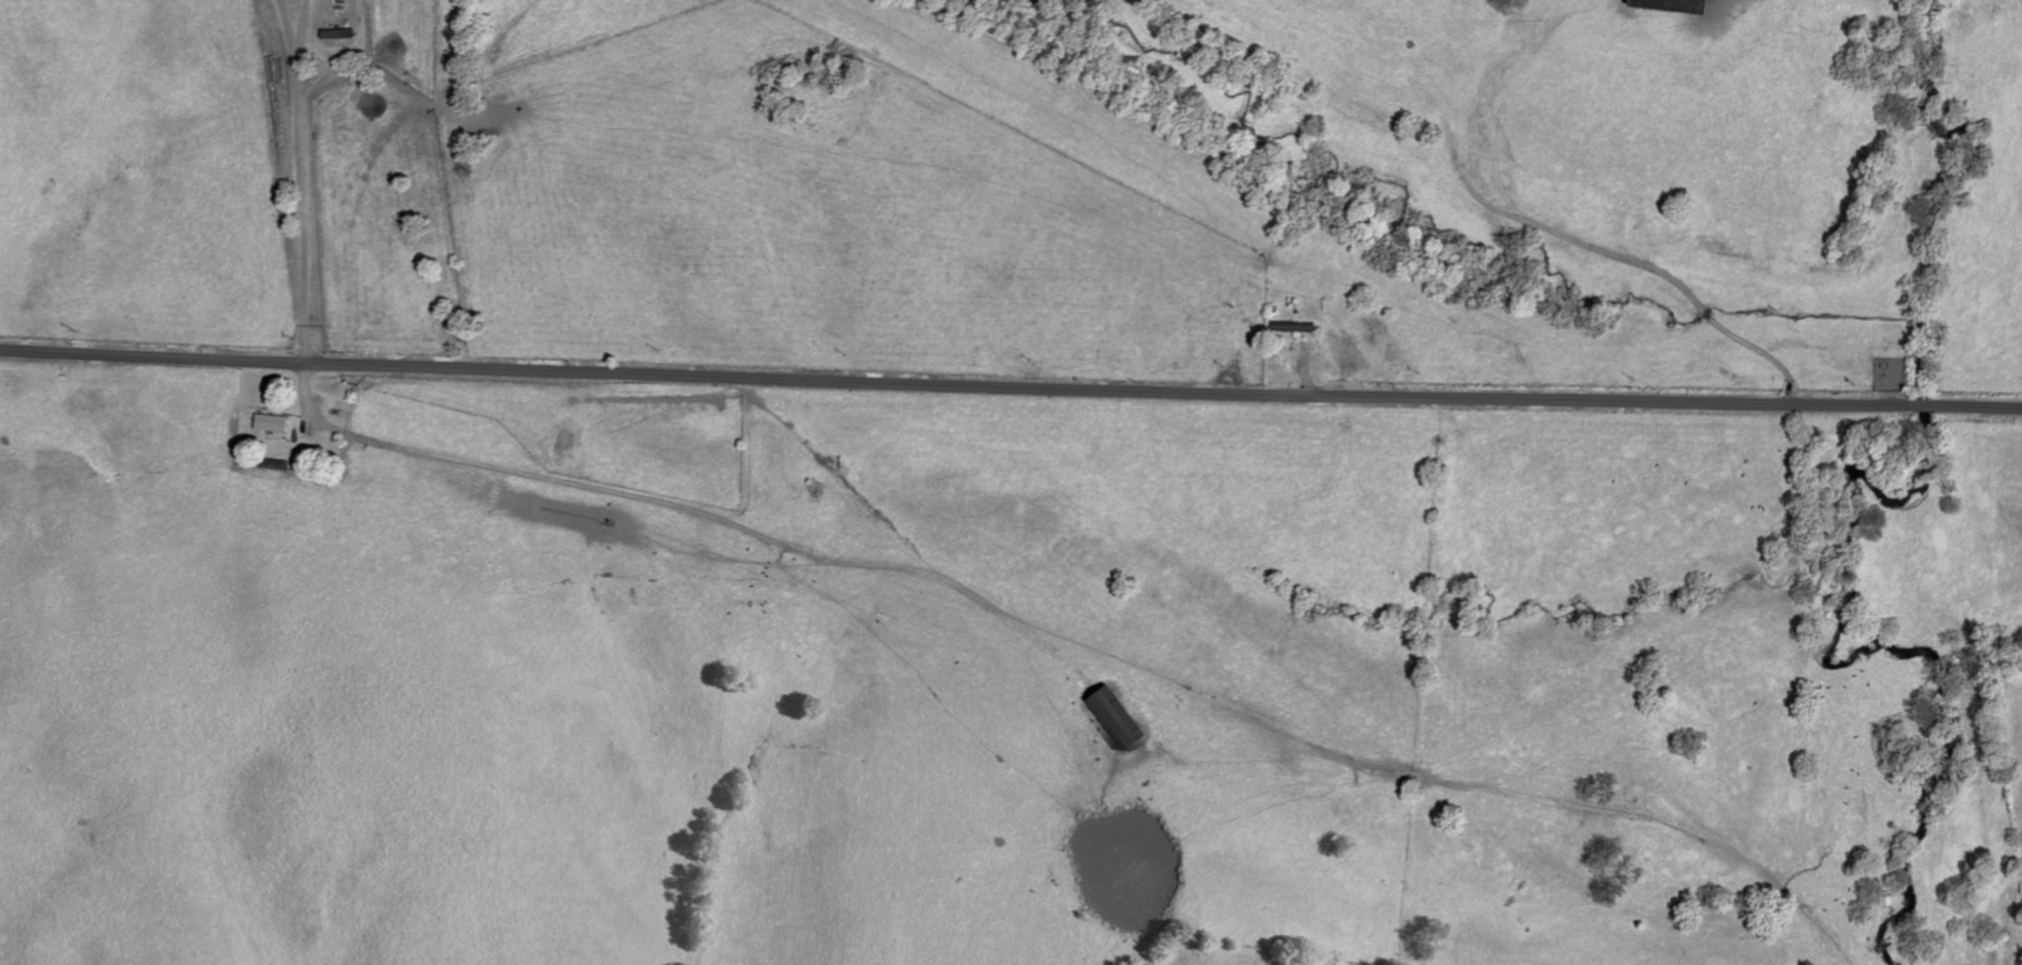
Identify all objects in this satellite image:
building: (1671, 5)
road: (302, 180)
building: (1294, 327)
road: (1010, 390)
building: (271, 422)
building: (1115, 715)

